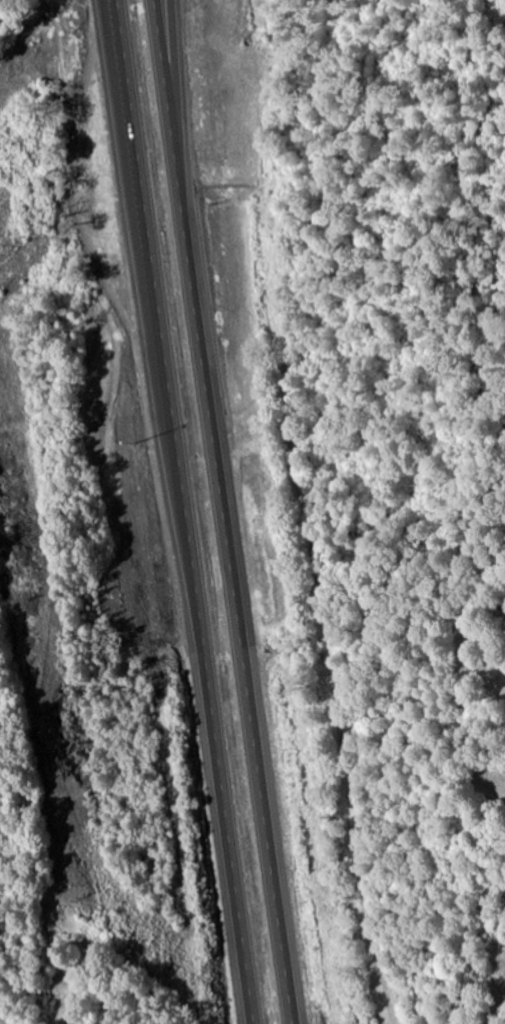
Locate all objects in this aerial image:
road: (182, 511)
road: (226, 511)
building: (63, 960)

